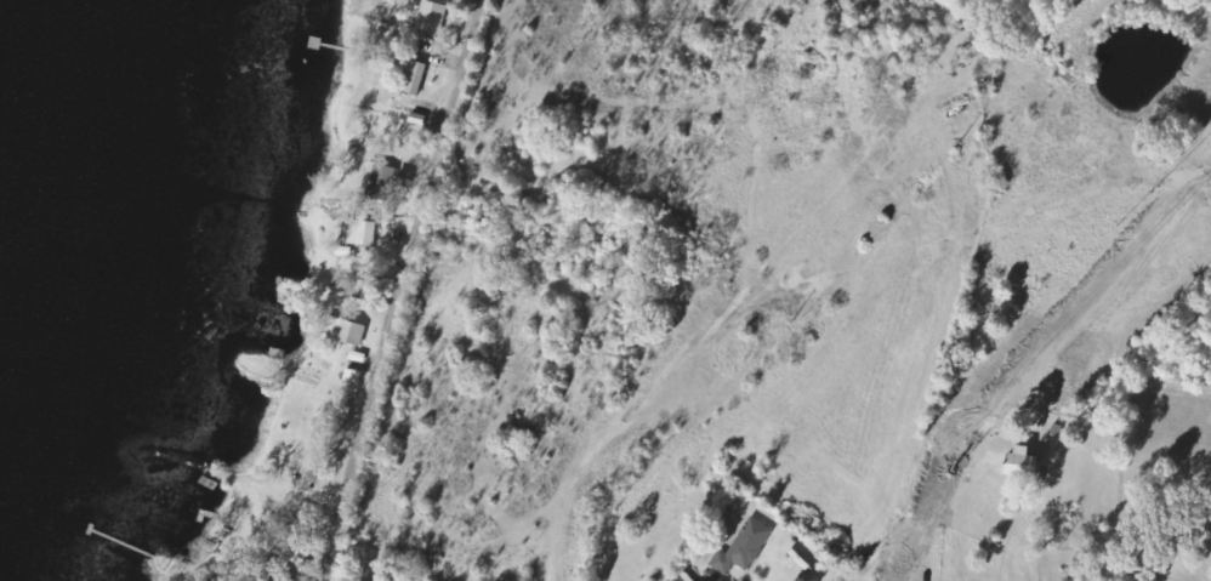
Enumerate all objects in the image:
building: (433, 17)
building: (414, 78)
building: (386, 178)
building: (363, 232)
road: (403, 290)
building: (346, 330)
building: (353, 377)
building: (1024, 462)
road: (1014, 540)
building: (745, 548)

